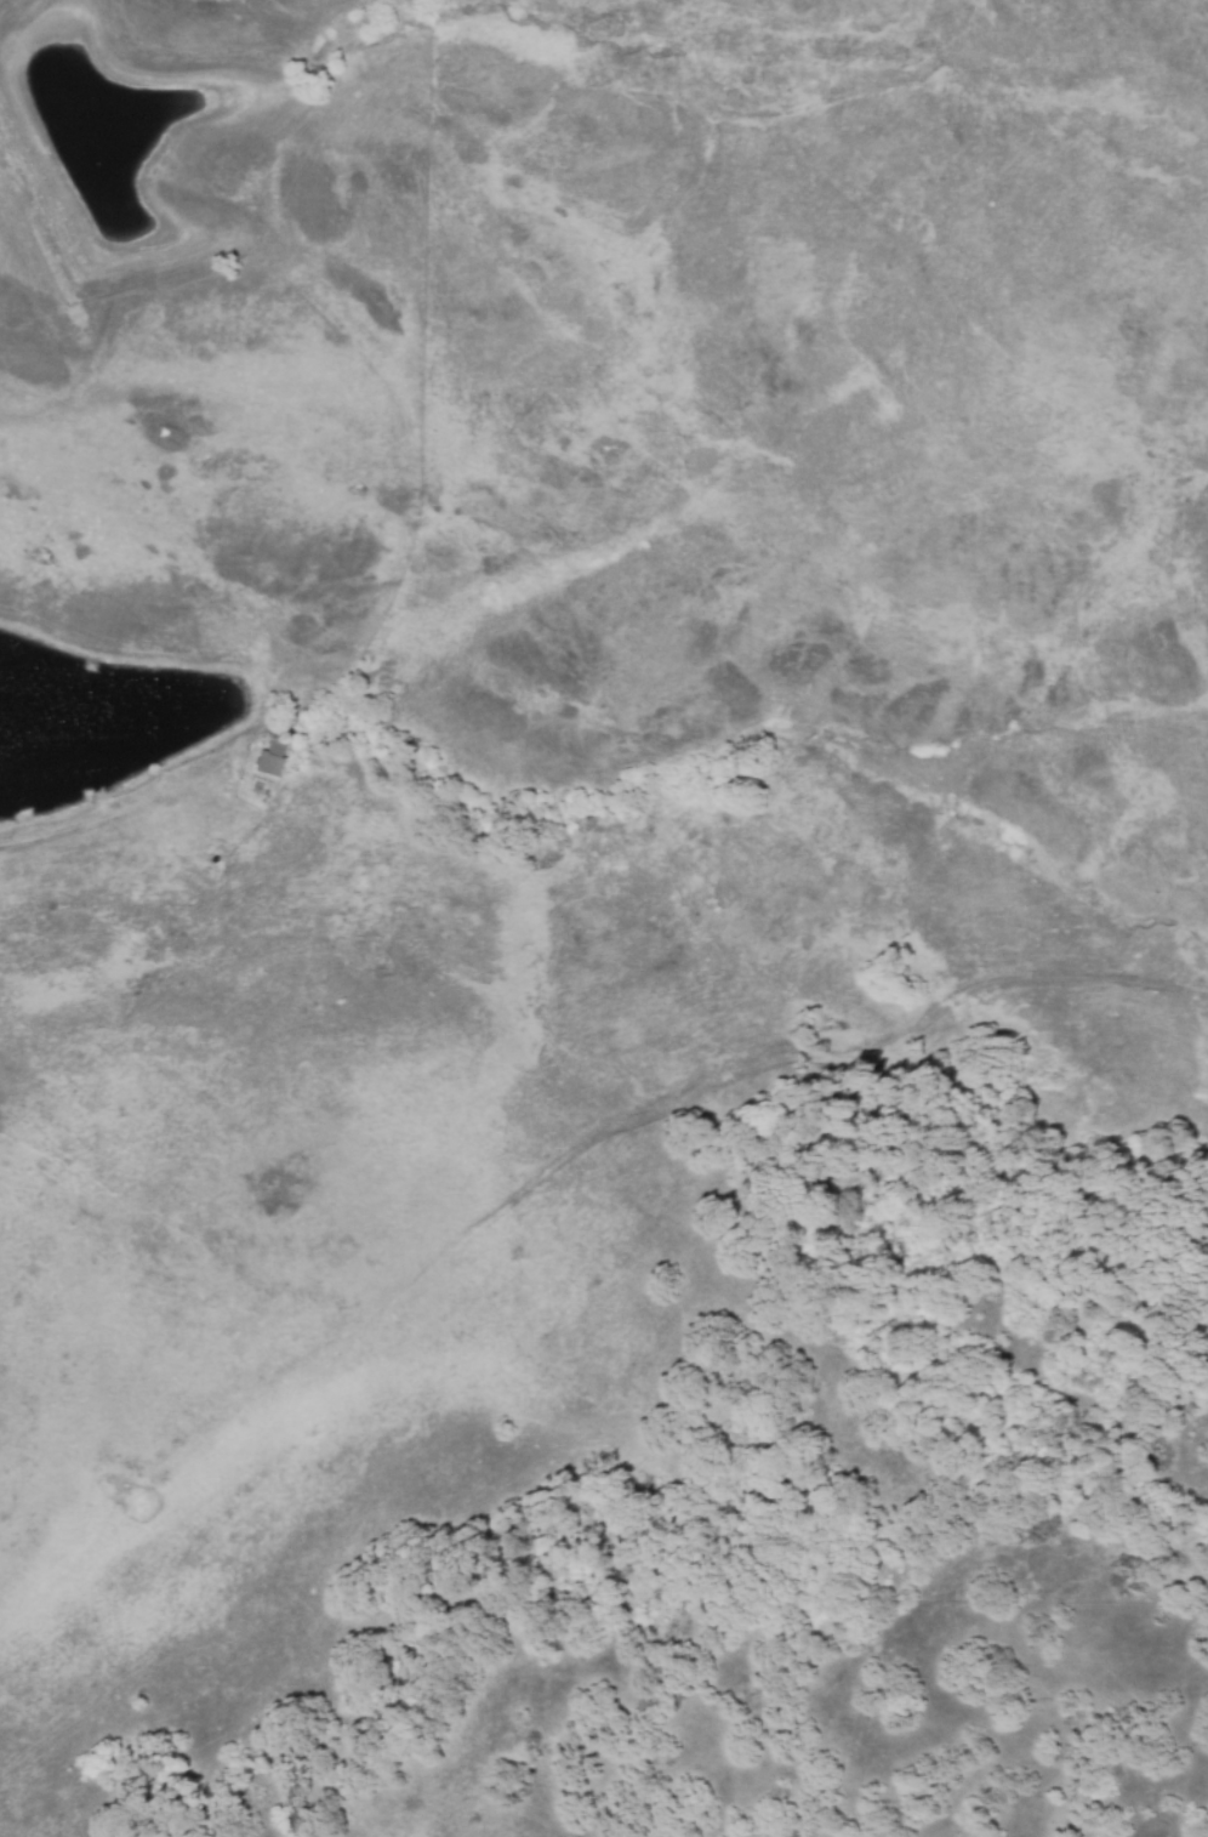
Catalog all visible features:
building: (277, 756)

